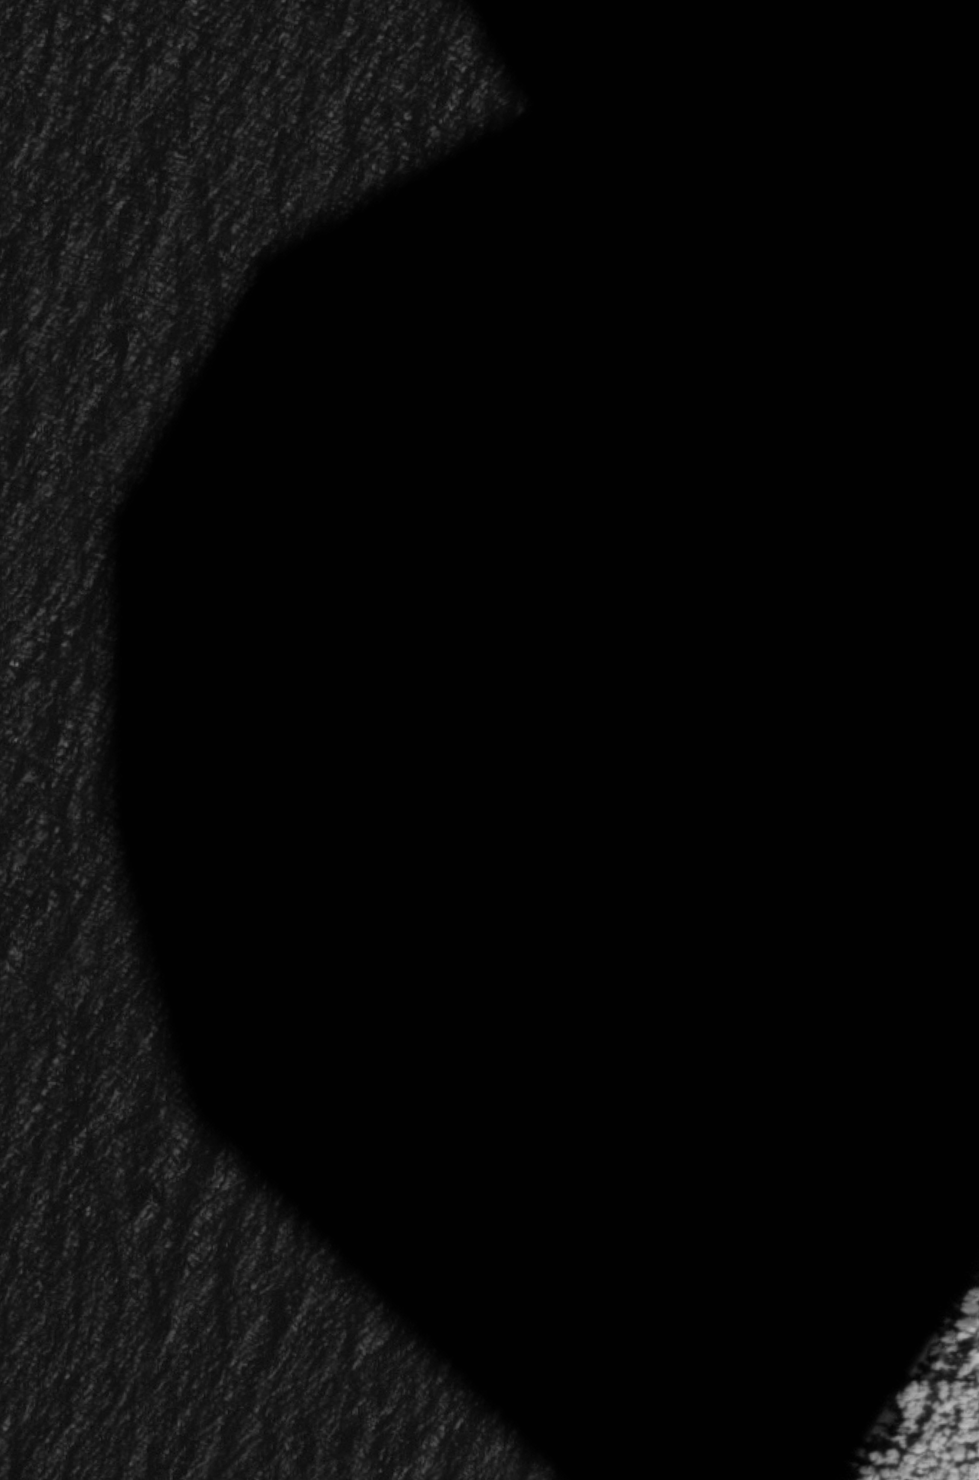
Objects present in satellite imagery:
park: (923, 1389)

